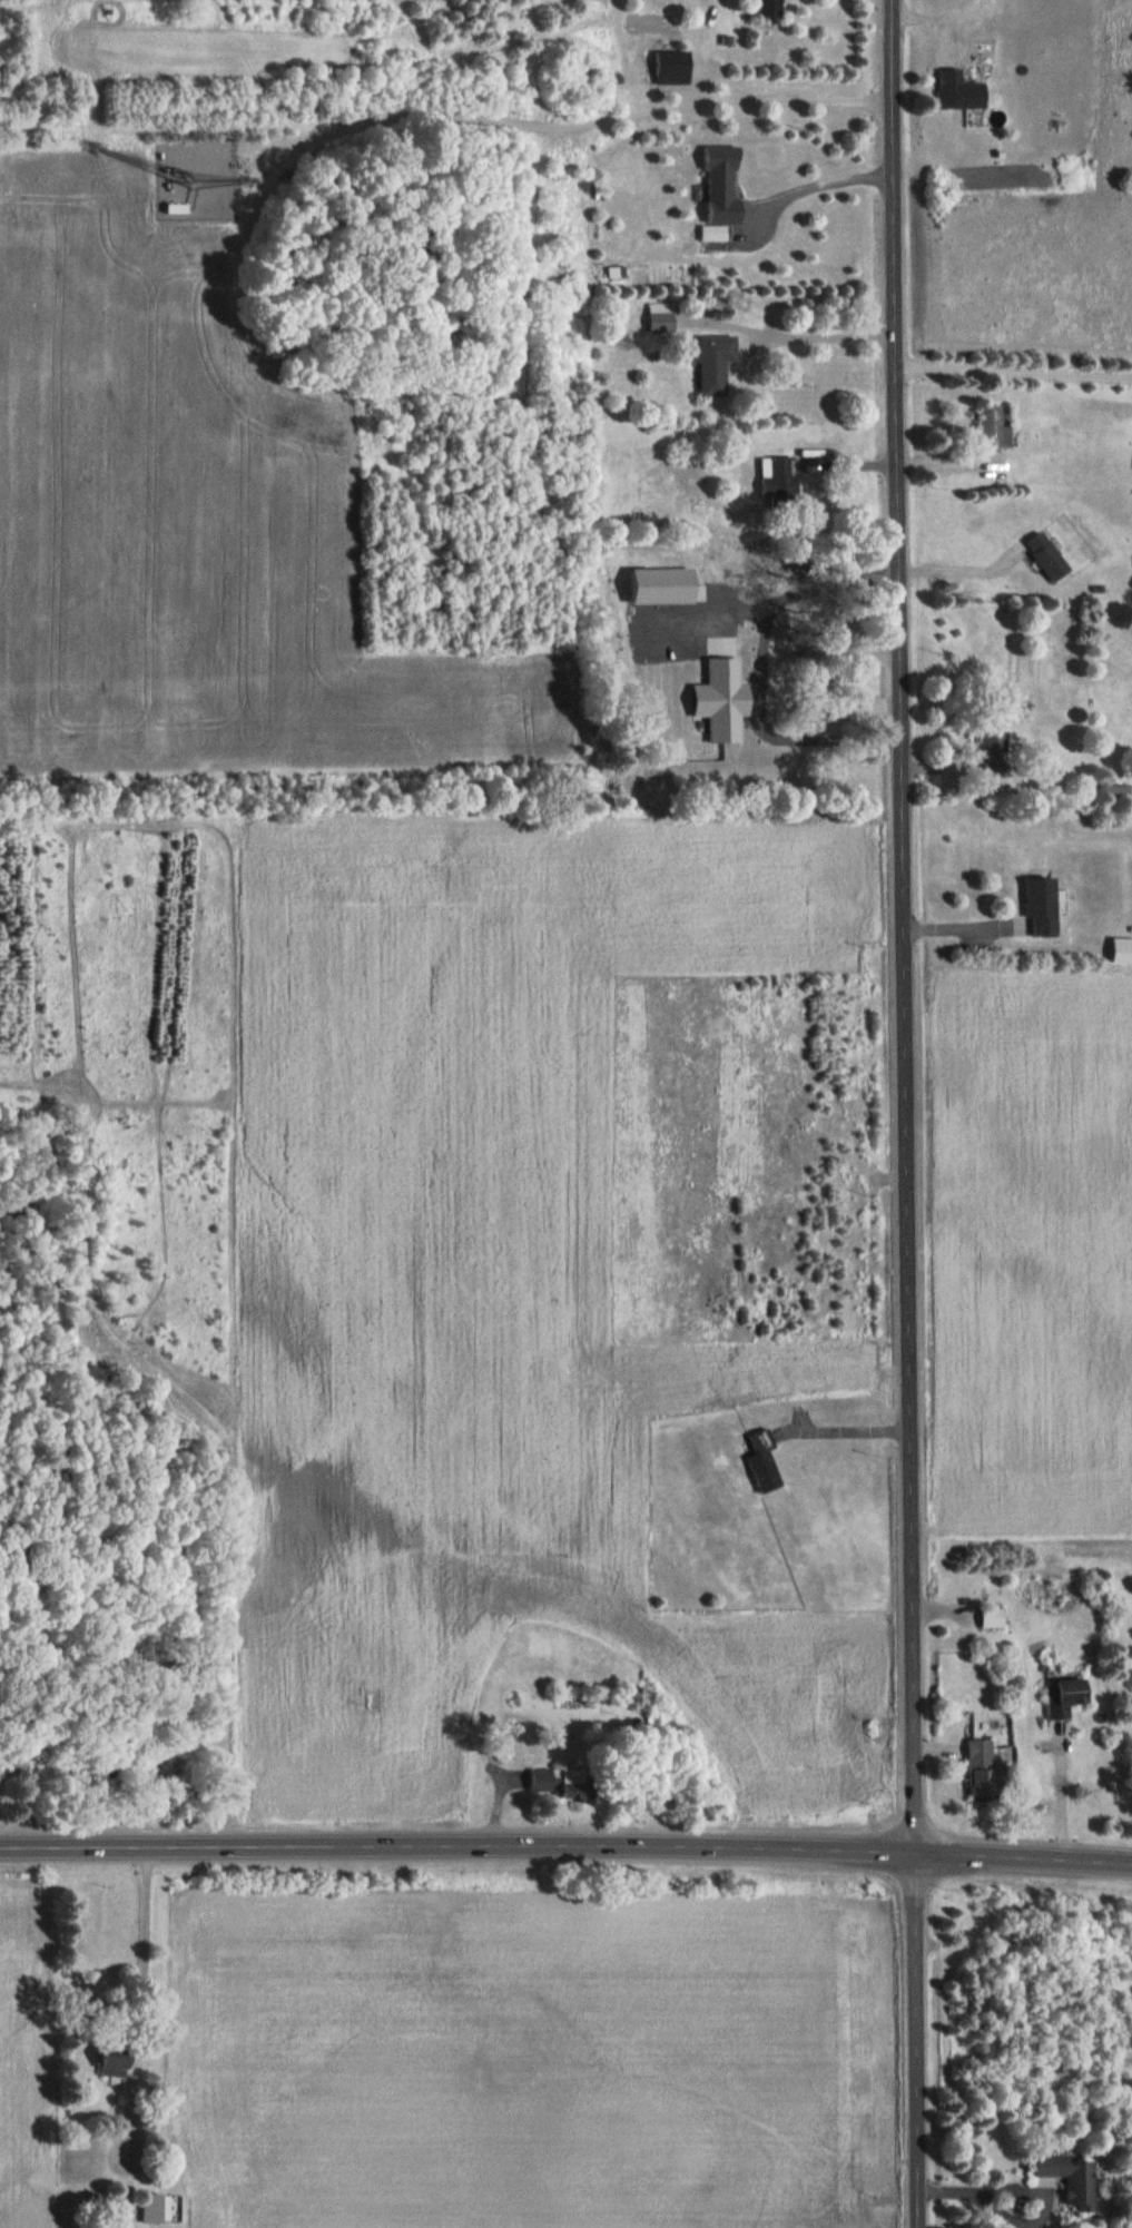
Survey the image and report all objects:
building: (761, 8)
building: (665, 67)
building: (951, 90)
road: (755, 99)
building: (711, 184)
road: (815, 185)
building: (708, 233)
building: (667, 278)
building: (654, 322)
road: (825, 334)
building: (708, 364)
road: (1014, 366)
building: (988, 428)
building: (770, 479)
building: (1039, 556)
road: (964, 565)
building: (986, 735)
building: (781, 758)
building: (1105, 790)
building: (1027, 906)
road: (904, 1113)
road: (844, 1429)
building: (756, 1462)
building: (984, 1617)
building: (1053, 1696)
building: (973, 1755)
building: (542, 1780)
road: (565, 1847)
road: (144, 1948)
building: (102, 2058)
building: (1064, 2179)
building: (154, 2207)

